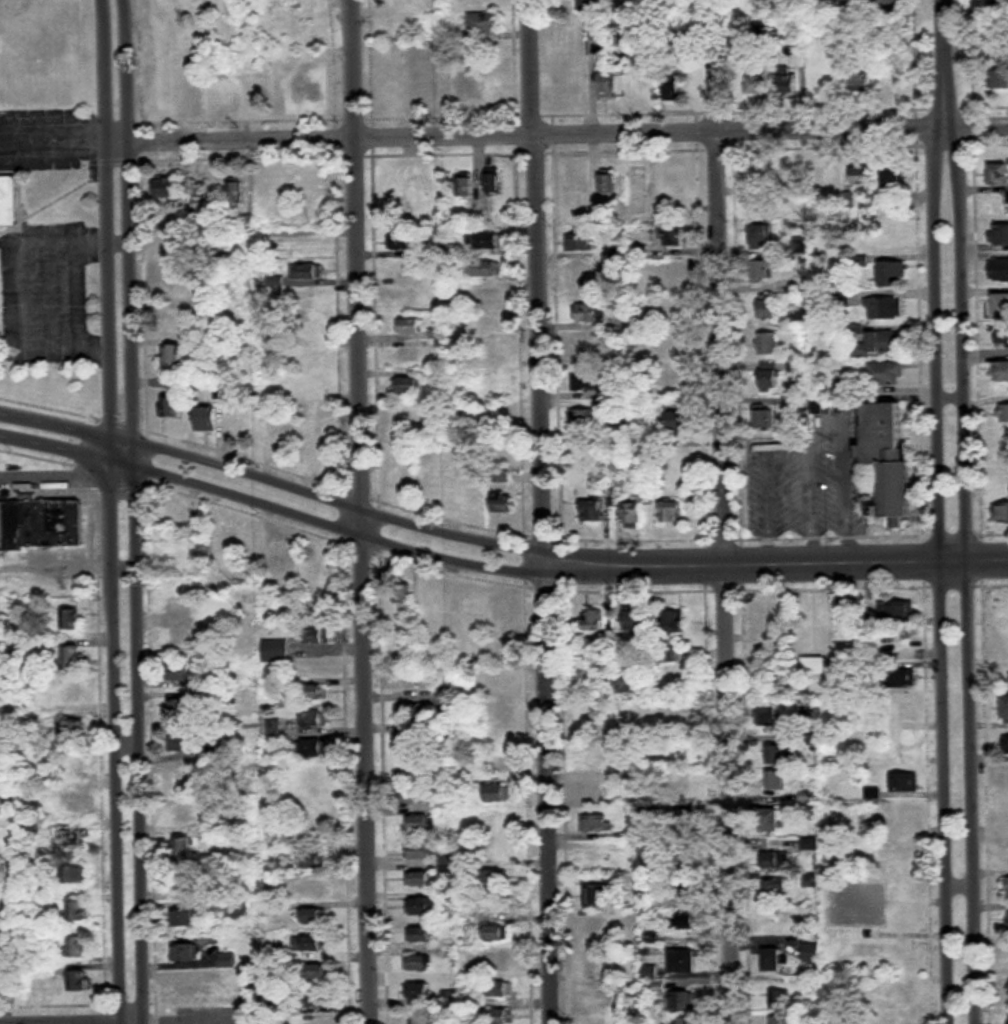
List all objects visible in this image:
building: (401, 2)
road: (352, 3)
building: (482, 4)
building: (998, 4)
building: (587, 5)
building: (886, 6)
building: (483, 23)
building: (217, 29)
building: (578, 30)
building: (598, 31)
building: (167, 36)
road: (941, 64)
building: (757, 80)
building: (1001, 80)
building: (892, 81)
building: (606, 82)
building: (861, 82)
building: (787, 83)
building: (422, 86)
building: (462, 87)
building: (673, 87)
building: (491, 89)
building: (313, 91)
building: (394, 91)
building: (256, 92)
building: (575, 94)
building: (160, 95)
building: (189, 95)
road: (556, 136)
road: (52, 142)
building: (999, 174)
building: (863, 175)
building: (894, 175)
building: (788, 176)
building: (825, 176)
building: (759, 178)
building: (492, 182)
building: (609, 184)
building: (166, 188)
building: (395, 188)
building: (464, 188)
building: (235, 191)
building: (424, 193)
building: (4, 196)
building: (599, 217)
building: (406, 219)
road: (128, 222)
road: (105, 229)
building: (998, 235)
building: (675, 236)
building: (760, 237)
building: (484, 239)
building: (578, 243)
building: (405, 244)
building: (638, 252)
building: (481, 268)
building: (408, 270)
building: (674, 271)
building: (762, 271)
building: (305, 272)
building: (891, 274)
building: (582, 278)
building: (173, 285)
road: (60, 289)
building: (488, 296)
building: (408, 297)
building: (304, 301)
building: (1001, 305)
building: (768, 307)
building: (884, 308)
building: (669, 311)
building: (585, 313)
building: (174, 320)
building: (484, 325)
building: (407, 326)
building: (307, 328)
building: (1002, 338)
building: (769, 344)
building: (878, 345)
building: (669, 346)
building: (588, 348)
building: (174, 355)
building: (309, 356)
building: (1000, 371)
building: (886, 374)
building: (769, 377)
building: (671, 381)
building: (585, 382)
building: (406, 385)
building: (311, 387)
building: (170, 407)
building: (1003, 413)
building: (306, 414)
building: (581, 417)
building: (205, 419)
building: (763, 419)
building: (405, 420)
road: (67, 428)
building: (676, 429)
building: (240, 430)
building: (283, 442)
road: (55, 447)
building: (317, 453)
building: (889, 457)
building: (660, 462)
building: (617, 464)
building: (401, 471)
road: (67, 478)
building: (432, 489)
building: (469, 497)
building: (502, 504)
road: (338, 505)
road: (541, 511)
building: (591, 511)
road: (357, 512)
building: (672, 514)
building: (1001, 514)
building: (631, 515)
building: (40, 524)
road: (326, 524)
road: (720, 526)
building: (233, 542)
building: (285, 558)
road: (775, 564)
road: (921, 566)
road: (936, 575)
road: (966, 575)
building: (403, 600)
building: (433, 602)
building: (178, 603)
building: (314, 608)
building: (471, 610)
building: (896, 610)
building: (503, 618)
building: (814, 619)
building: (72, 620)
building: (635, 620)
building: (773, 620)
building: (673, 624)
building: (594, 625)
building: (410, 631)
building: (315, 635)
building: (176, 638)
building: (904, 643)
building: (274, 650)
building: (74, 657)
building: (179, 672)
building: (1005, 676)
building: (499, 682)
building: (900, 682)
building: (408, 683)
building: (313, 692)
building: (73, 693)
building: (444, 697)
building: (1005, 708)
building: (180, 709)
building: (499, 710)
building: (409, 711)
building: (903, 713)
building: (768, 715)
building: (684, 717)
building: (587, 718)
building: (313, 721)
building: (70, 730)
road: (141, 734)
building: (415, 739)
road: (114, 741)
building: (182, 744)
building: (1005, 745)
building: (310, 749)
building: (591, 752)
building: (777, 756)
building: (76, 763)
road: (982, 763)
building: (496, 766)
building: (414, 768)
building: (315, 776)
building: (182, 780)
building: (776, 781)
building: (1005, 781)
building: (905, 783)
building: (592, 789)
building: (497, 795)
building: (416, 800)
building: (72, 803)
building: (312, 804)
building: (182, 813)
building: (1007, 813)
building: (904, 819)
building: (770, 821)
building: (497, 822)
building: (685, 822)
building: (419, 824)
building: (595, 824)
building: (311, 832)
building: (274, 837)
building: (73, 839)
building: (182, 849)
building: (494, 850)
building: (420, 852)
building: (905, 853)
building: (597, 858)
building: (313, 860)
building: (775, 862)
building: (445, 864)
building: (686, 864)
building: (75, 875)
building: (495, 878)
building: (420, 879)
building: (180, 883)
building: (314, 888)
building: (908, 888)
building: (1007, 889)
building: (598, 896)
building: (866, 896)
building: (776, 904)
building: (422, 907)
building: (78, 912)
building: (313, 916)
building: (185, 919)
building: (1007, 921)
building: (688, 922)
building: (599, 928)
building: (495, 934)
building: (421, 935)
building: (310, 944)
building: (78, 947)
building: (186, 953)
building: (811, 953)
building: (227, 960)
building: (772, 961)
building: (683, 962)
building: (418, 963)
building: (500, 963)
building: (598, 964)
building: (317, 972)
building: (78, 982)
building: (501, 990)
building: (418, 992)
building: (595, 999)
building: (319, 1000)
building: (680, 1002)
building: (780, 1002)
building: (500, 1017)
building: (419, 1018)
building: (781, 1020)
building: (910, 1021)
building: (679, 1022)
road: (222, 1023)
building: (320, 1023)

